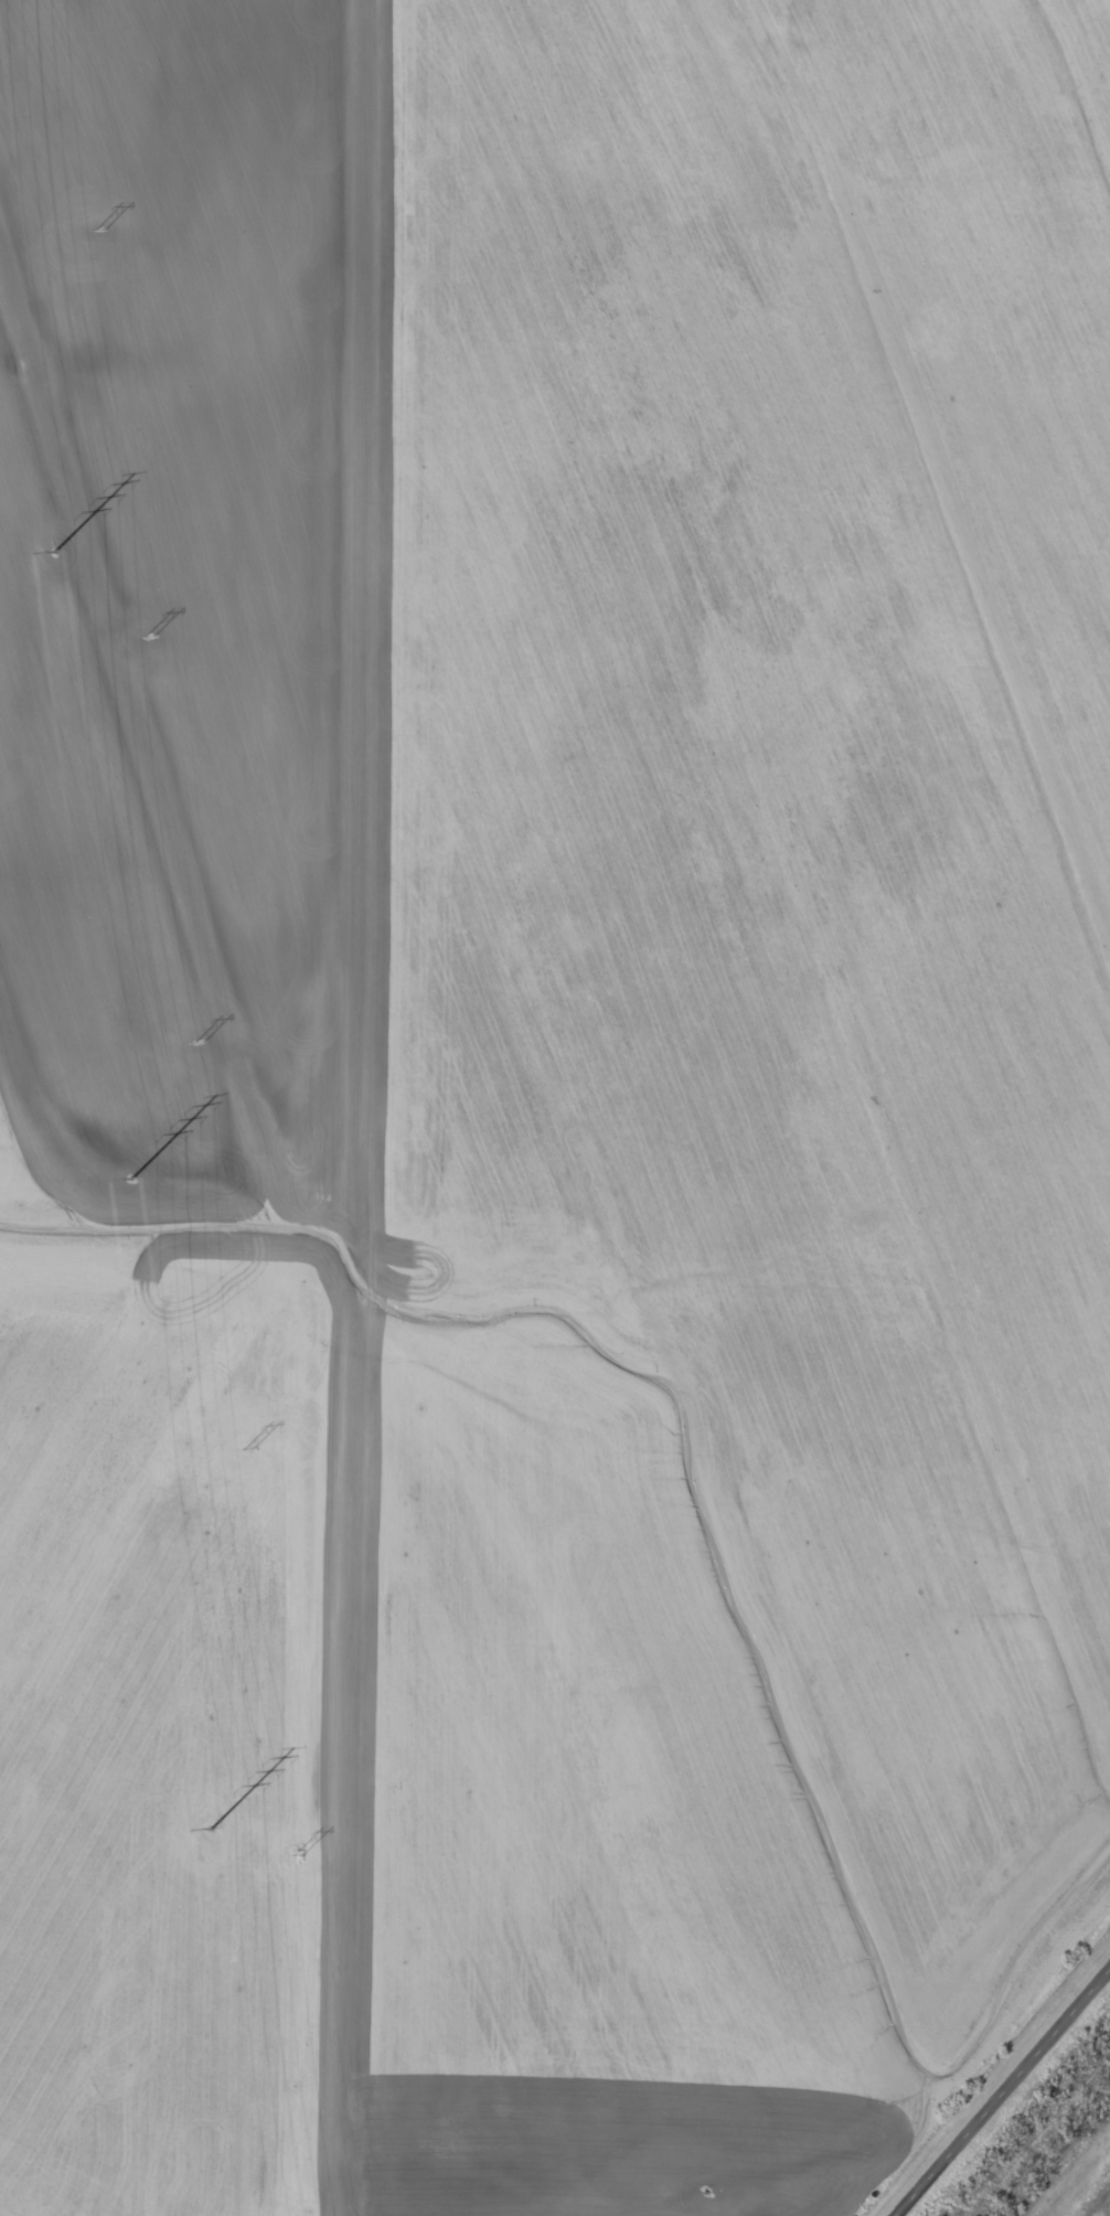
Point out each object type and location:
power tower: (99, 228)
power tower: (54, 551)
power tower: (150, 633)
power tower: (201, 1042)
power tower: (131, 1178)
power tower: (249, 1448)
power tower: (211, 1829)
power tower: (299, 1855)
road: (1010, 2100)
railway: (1037, 2132)

